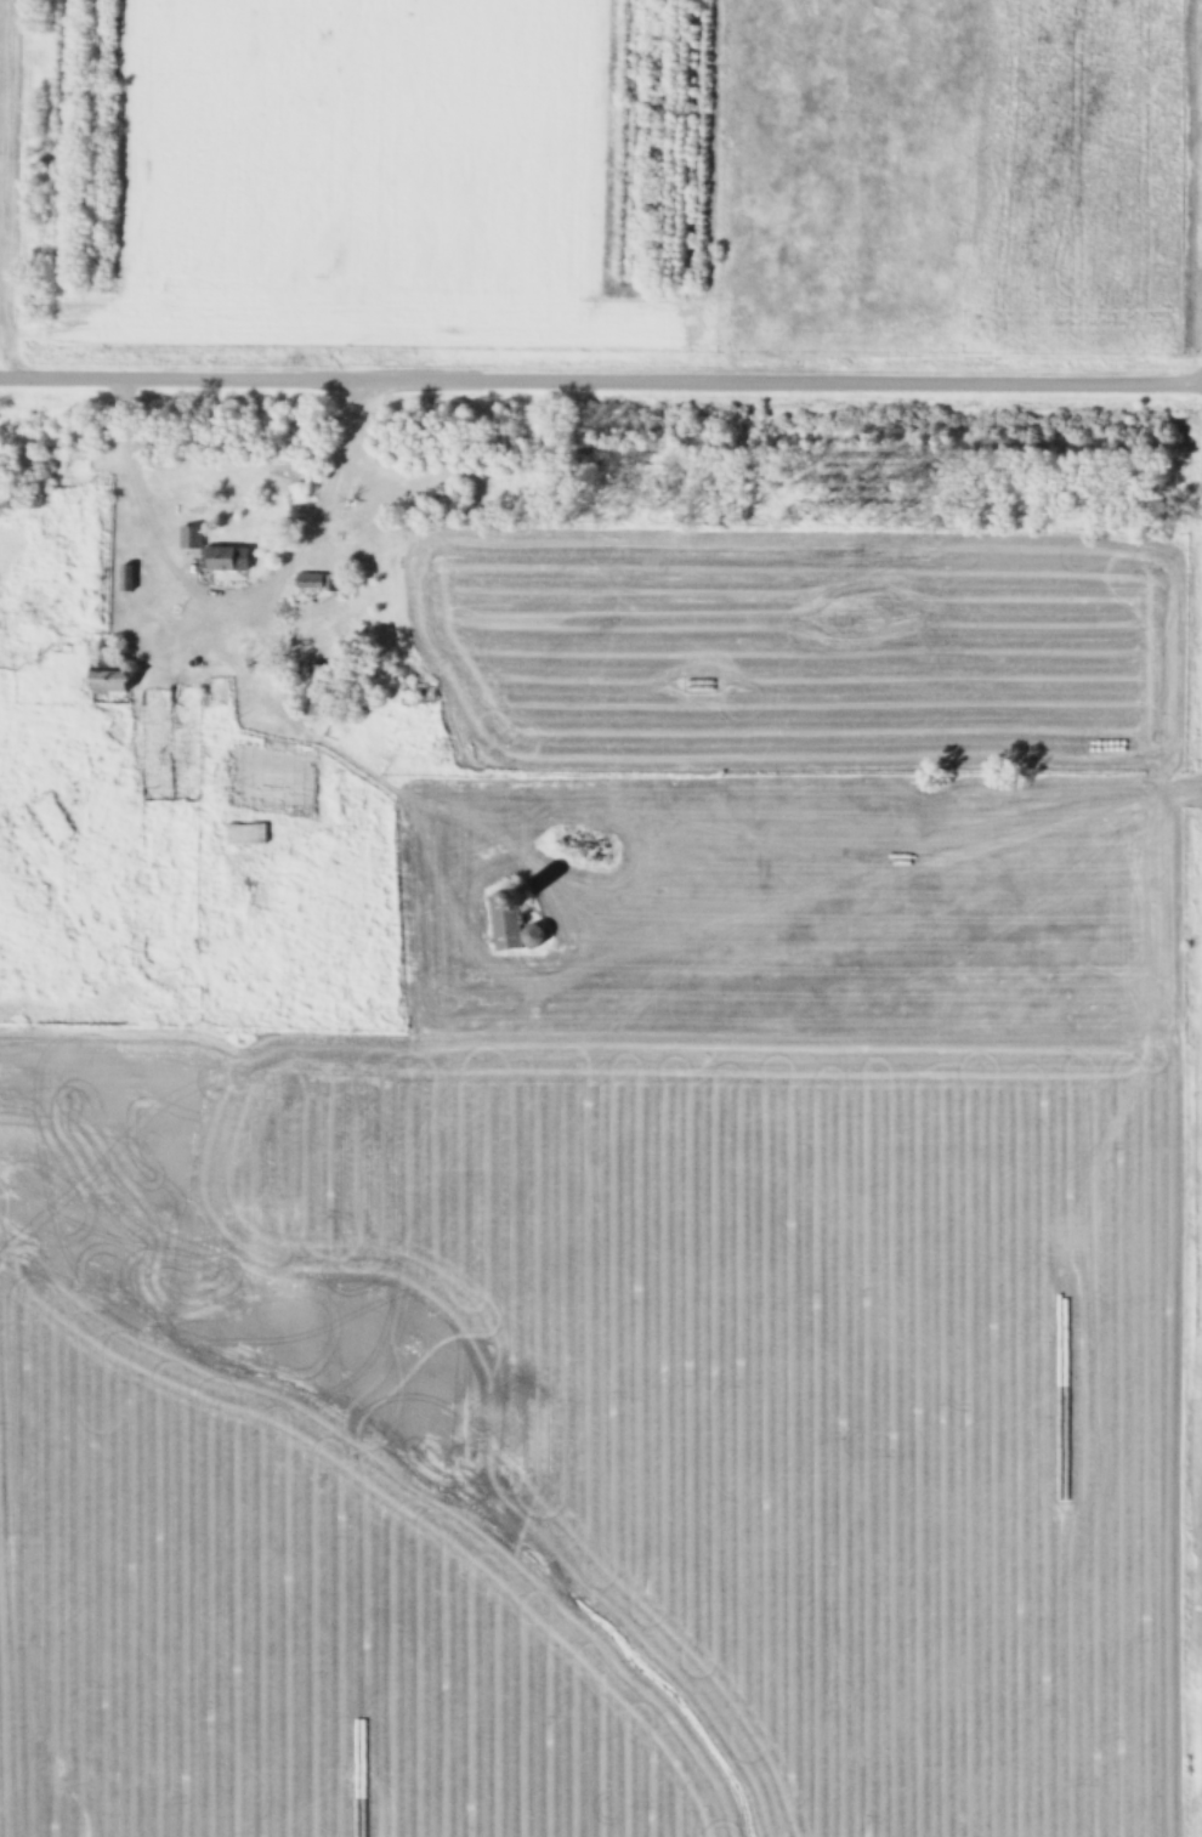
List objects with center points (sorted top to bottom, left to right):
road: (601, 378)
building: (21, 497)
building: (216, 550)
building: (126, 577)
building: (314, 580)
building: (114, 671)
building: (319, 690)
building: (416, 696)
building: (246, 833)
building: (515, 923)

